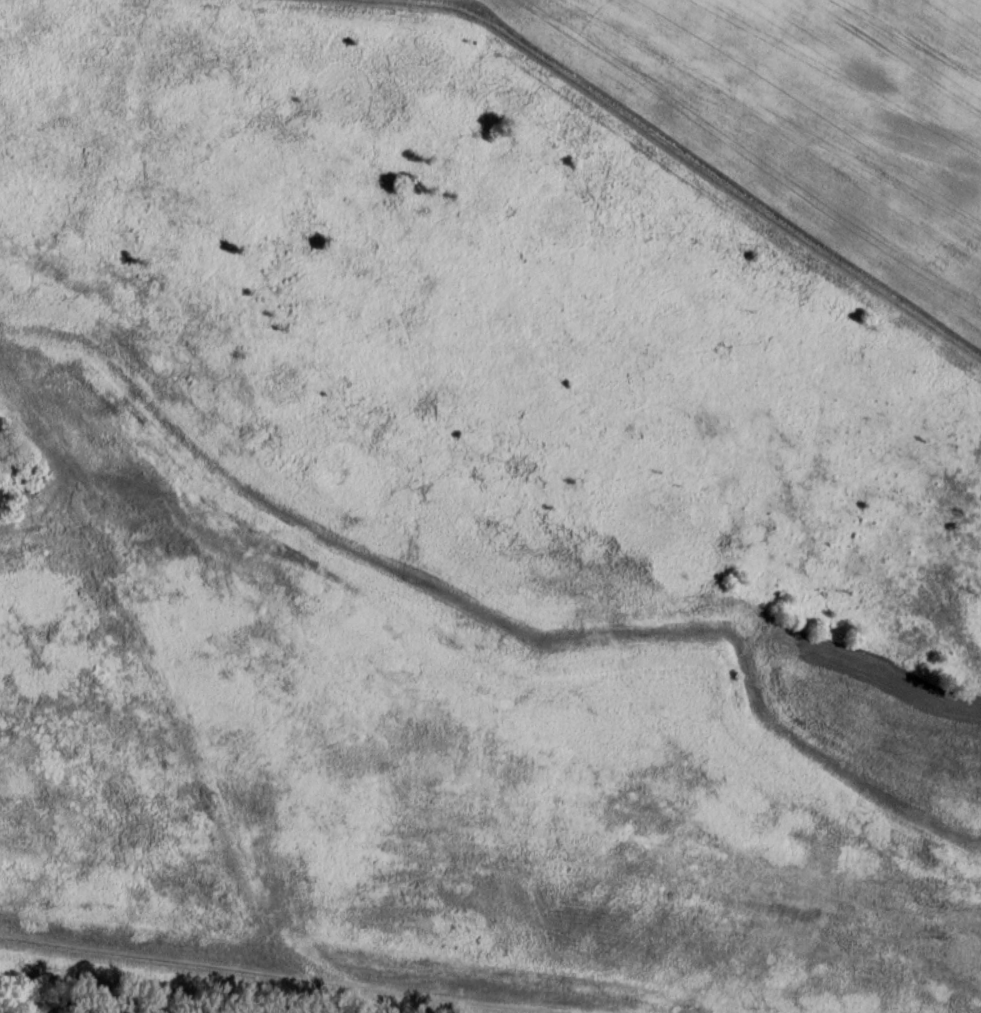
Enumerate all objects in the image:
road: (275, 973)

